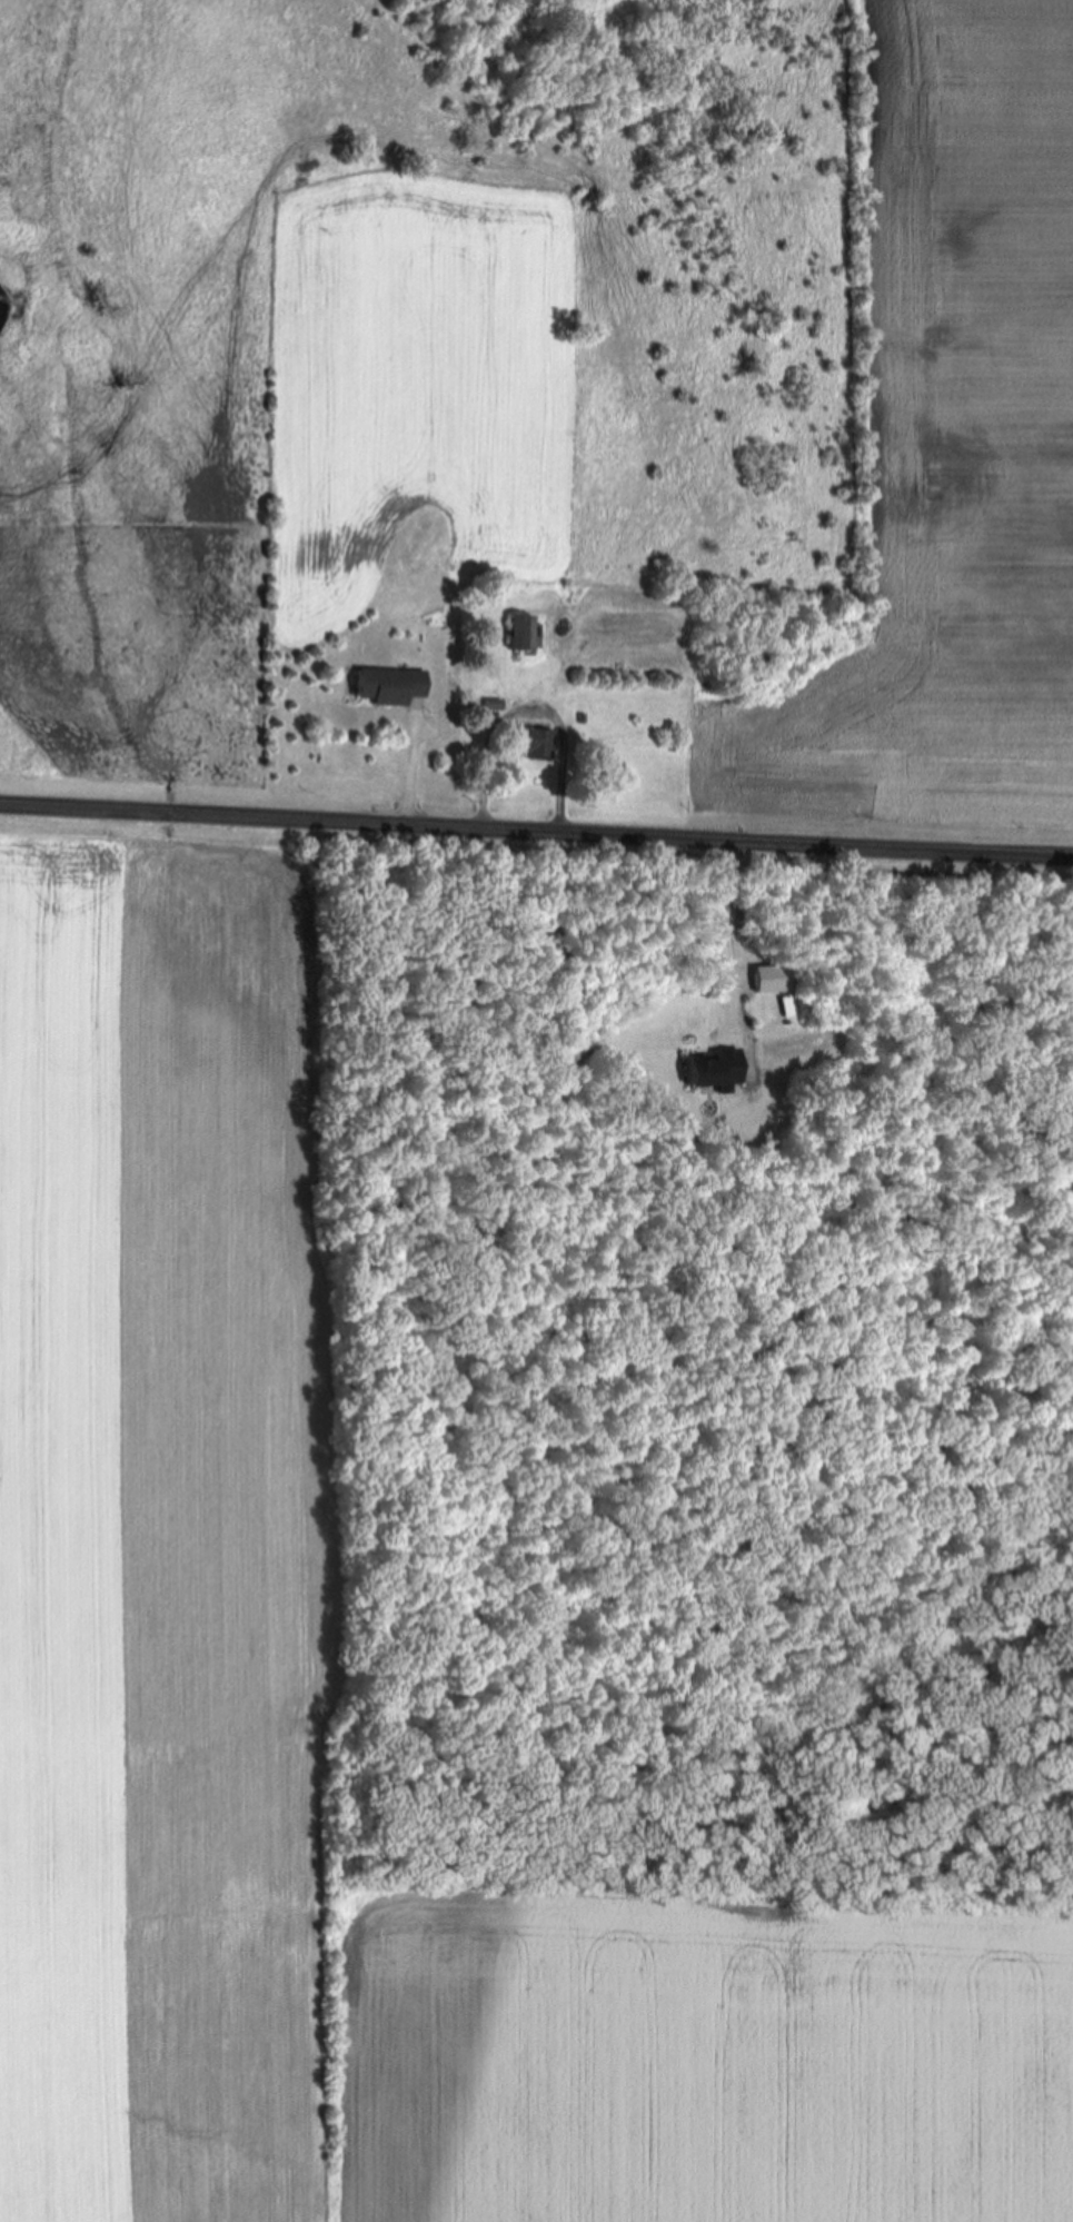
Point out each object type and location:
building: (519, 635)
building: (387, 687)
building: (528, 743)
building: (599, 754)
road: (536, 826)

